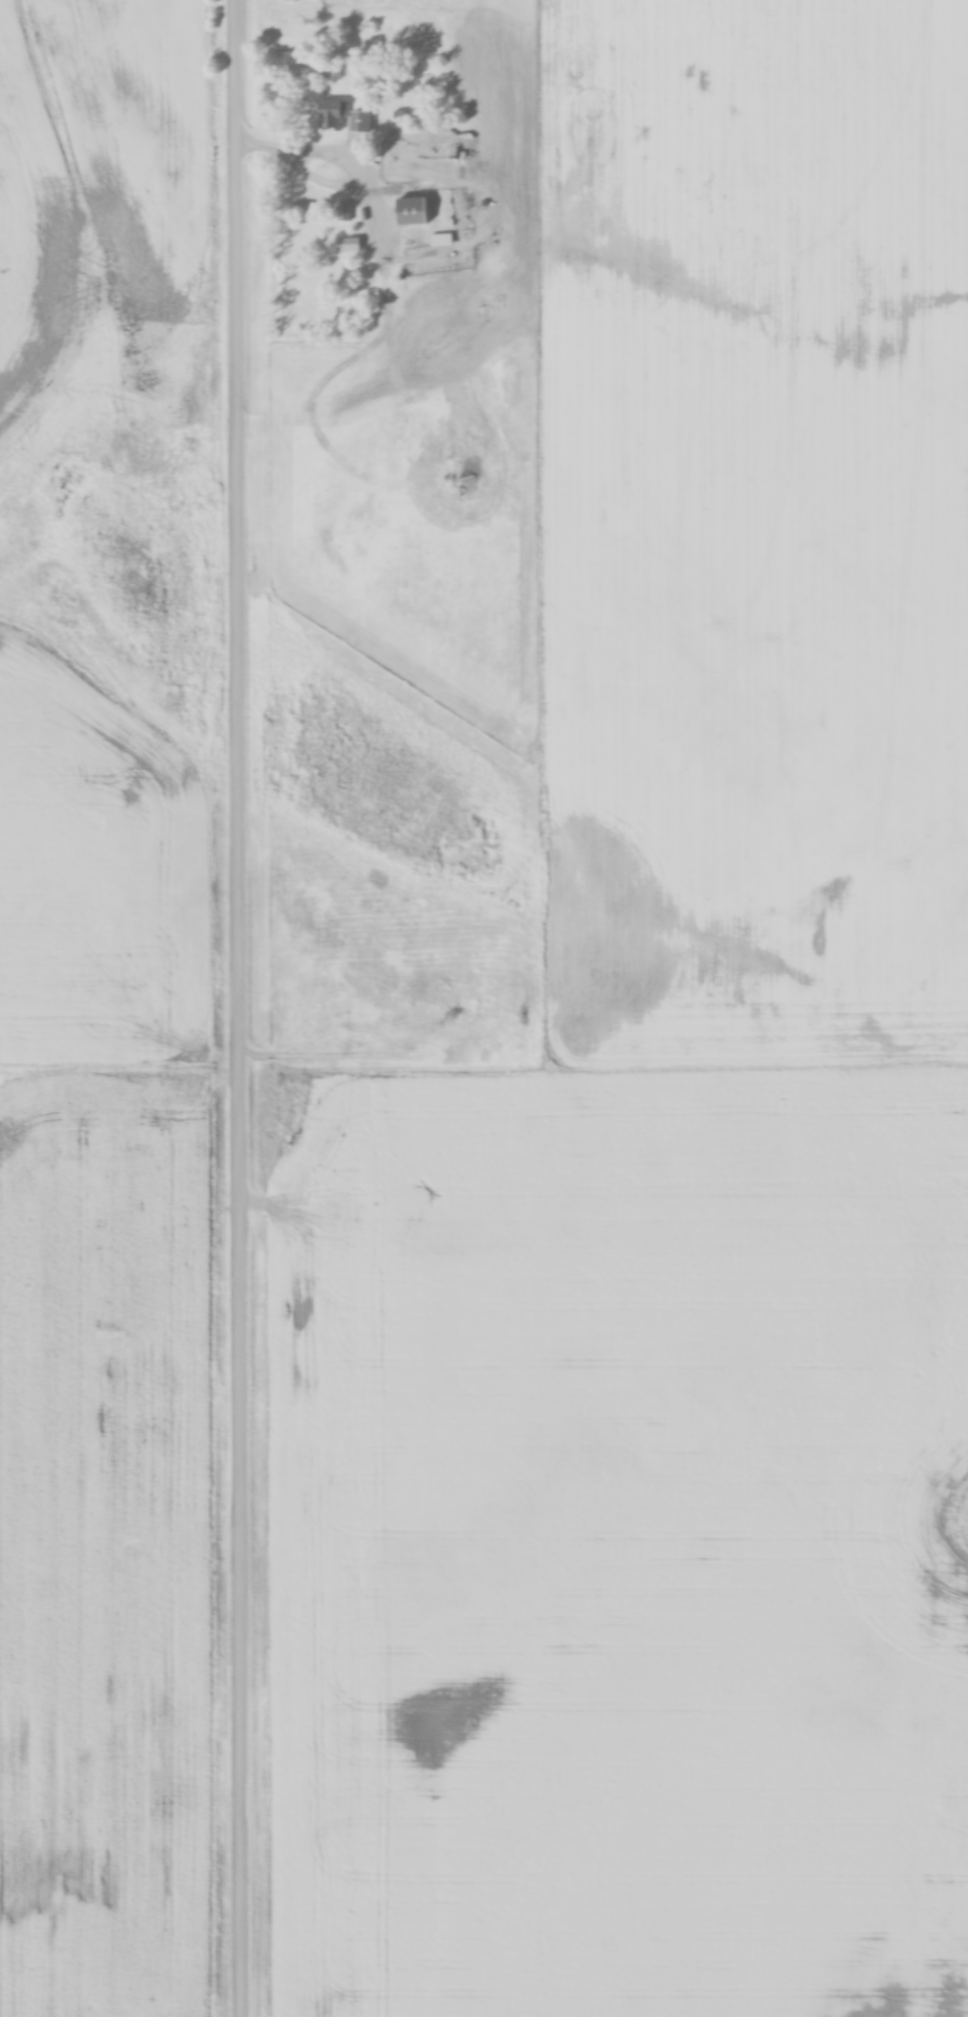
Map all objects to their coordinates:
building: (333, 113)
building: (361, 119)
road: (326, 182)
road: (370, 207)
building: (412, 210)
building: (344, 211)
road: (240, 1008)

